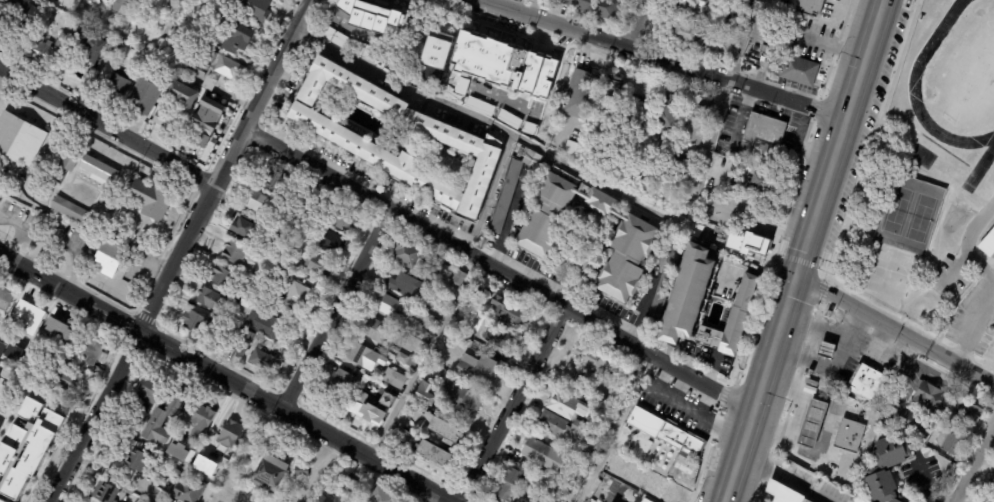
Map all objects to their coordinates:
building: (276, 0)
building: (89, 1)
building: (123, 5)
road: (884, 5)
road: (531, 7)
building: (593, 7)
building: (811, 7)
building: (695, 8)
building: (253, 9)
building: (21, 15)
building: (210, 17)
building: (398, 20)
road: (638, 23)
building: (718, 25)
building: (732, 27)
building: (102, 28)
building: (684, 33)
building: (177, 36)
building: (239, 40)
building: (61, 42)
building: (347, 43)
building: (87, 47)
building: (113, 48)
building: (728, 50)
building: (765, 50)
building: (38, 51)
road: (665, 58)
building: (763, 61)
building: (434, 62)
building: (197, 63)
building: (504, 65)
road: (0, 69)
building: (228, 69)
building: (792, 69)
building: (115, 90)
building: (649, 93)
building: (612, 94)
building: (580, 95)
track: (914, 96)
building: (142, 98)
building: (174, 103)
building: (478, 106)
building: (204, 108)
building: (667, 113)
building: (516, 123)
building: (694, 126)
road: (106, 127)
building: (762, 133)
building: (395, 136)
building: (20, 138)
building: (571, 149)
building: (777, 156)
building: (68, 163)
road: (224, 163)
building: (99, 169)
building: (272, 179)
road: (595, 180)
building: (765, 188)
building: (555, 191)
building: (1, 192)
road: (490, 195)
building: (513, 195)
building: (738, 197)
building: (150, 200)
building: (662, 200)
building: (600, 201)
building: (263, 206)
building: (72, 213)
park: (906, 216)
building: (345, 218)
building: (247, 226)
building: (537, 232)
building: (633, 234)
road: (57, 237)
building: (331, 241)
building: (987, 242)
building: (310, 243)
building: (747, 245)
railway: (817, 250)
building: (236, 254)
building: (411, 256)
road: (803, 256)
building: (568, 258)
building: (109, 259)
building: (290, 264)
building: (318, 265)
road: (497, 268)
road: (955, 270)
building: (444, 272)
traffic signals: (799, 273)
building: (221, 276)
road: (991, 278)
building: (456, 279)
building: (619, 279)
building: (663, 283)
building: (407, 286)
building: (474, 287)
building: (686, 293)
building: (439, 295)
building: (299, 296)
building: (4, 299)
building: (210, 299)
building: (247, 299)
parking lot: (966, 303)
building: (389, 305)
building: (421, 305)
road: (335, 310)
building: (508, 310)
building: (738, 312)
building: (27, 316)
building: (265, 322)
building: (433, 322)
building: (195, 323)
building: (235, 325)
building: (452, 326)
building: (57, 329)
building: (373, 329)
road: (896, 329)
building: (415, 330)
building: (498, 337)
building: (200, 340)
building: (464, 342)
building: (243, 343)
building: (91, 350)
building: (827, 350)
building: (10, 354)
building: (362, 355)
building: (589, 357)
road: (423, 358)
building: (406, 360)
building: (263, 361)
building: (479, 371)
building: (632, 372)
road: (218, 375)
building: (394, 378)
building: (63, 379)
building: (626, 382)
building: (868, 383)
building: (338, 386)
building: (148, 389)
building: (421, 396)
building: (460, 399)
building: (386, 401)
road: (513, 403)
building: (565, 406)
building: (364, 408)
building: (925, 408)
building: (616, 413)
building: (967, 413)
road: (93, 415)
building: (201, 417)
building: (160, 421)
building: (644, 422)
building: (552, 424)
building: (813, 424)
building: (436, 425)
building: (127, 428)
road: (612, 428)
building: (580, 430)
building: (181, 433)
building: (224, 435)
building: (849, 436)
building: (403, 437)
building: (683, 440)
building: (920, 440)
building: (950, 443)
building: (25, 448)
building: (180, 451)
building: (892, 451)
building: (537, 452)
building: (573, 452)
building: (434, 453)
building: (591, 459)
building: (619, 459)
building: (136, 460)
building: (798, 460)
road: (975, 463)
building: (204, 465)
building: (552, 468)
building: (685, 470)
building: (301, 472)
building: (615, 472)
road: (115, 473)
building: (268, 474)
road: (784, 476)
building: (992, 478)
building: (510, 484)
building: (542, 484)
building: (575, 484)
building: (348, 485)
building: (658, 488)
building: (883, 488)
building: (187, 490)
building: (609, 491)
building: (104, 492)
building: (782, 493)
building: (529, 495)
building: (380, 496)
road: (434, 498)
road: (444, 498)
building: (321, 499)
building: (643, 501)
building: (647, 501)

